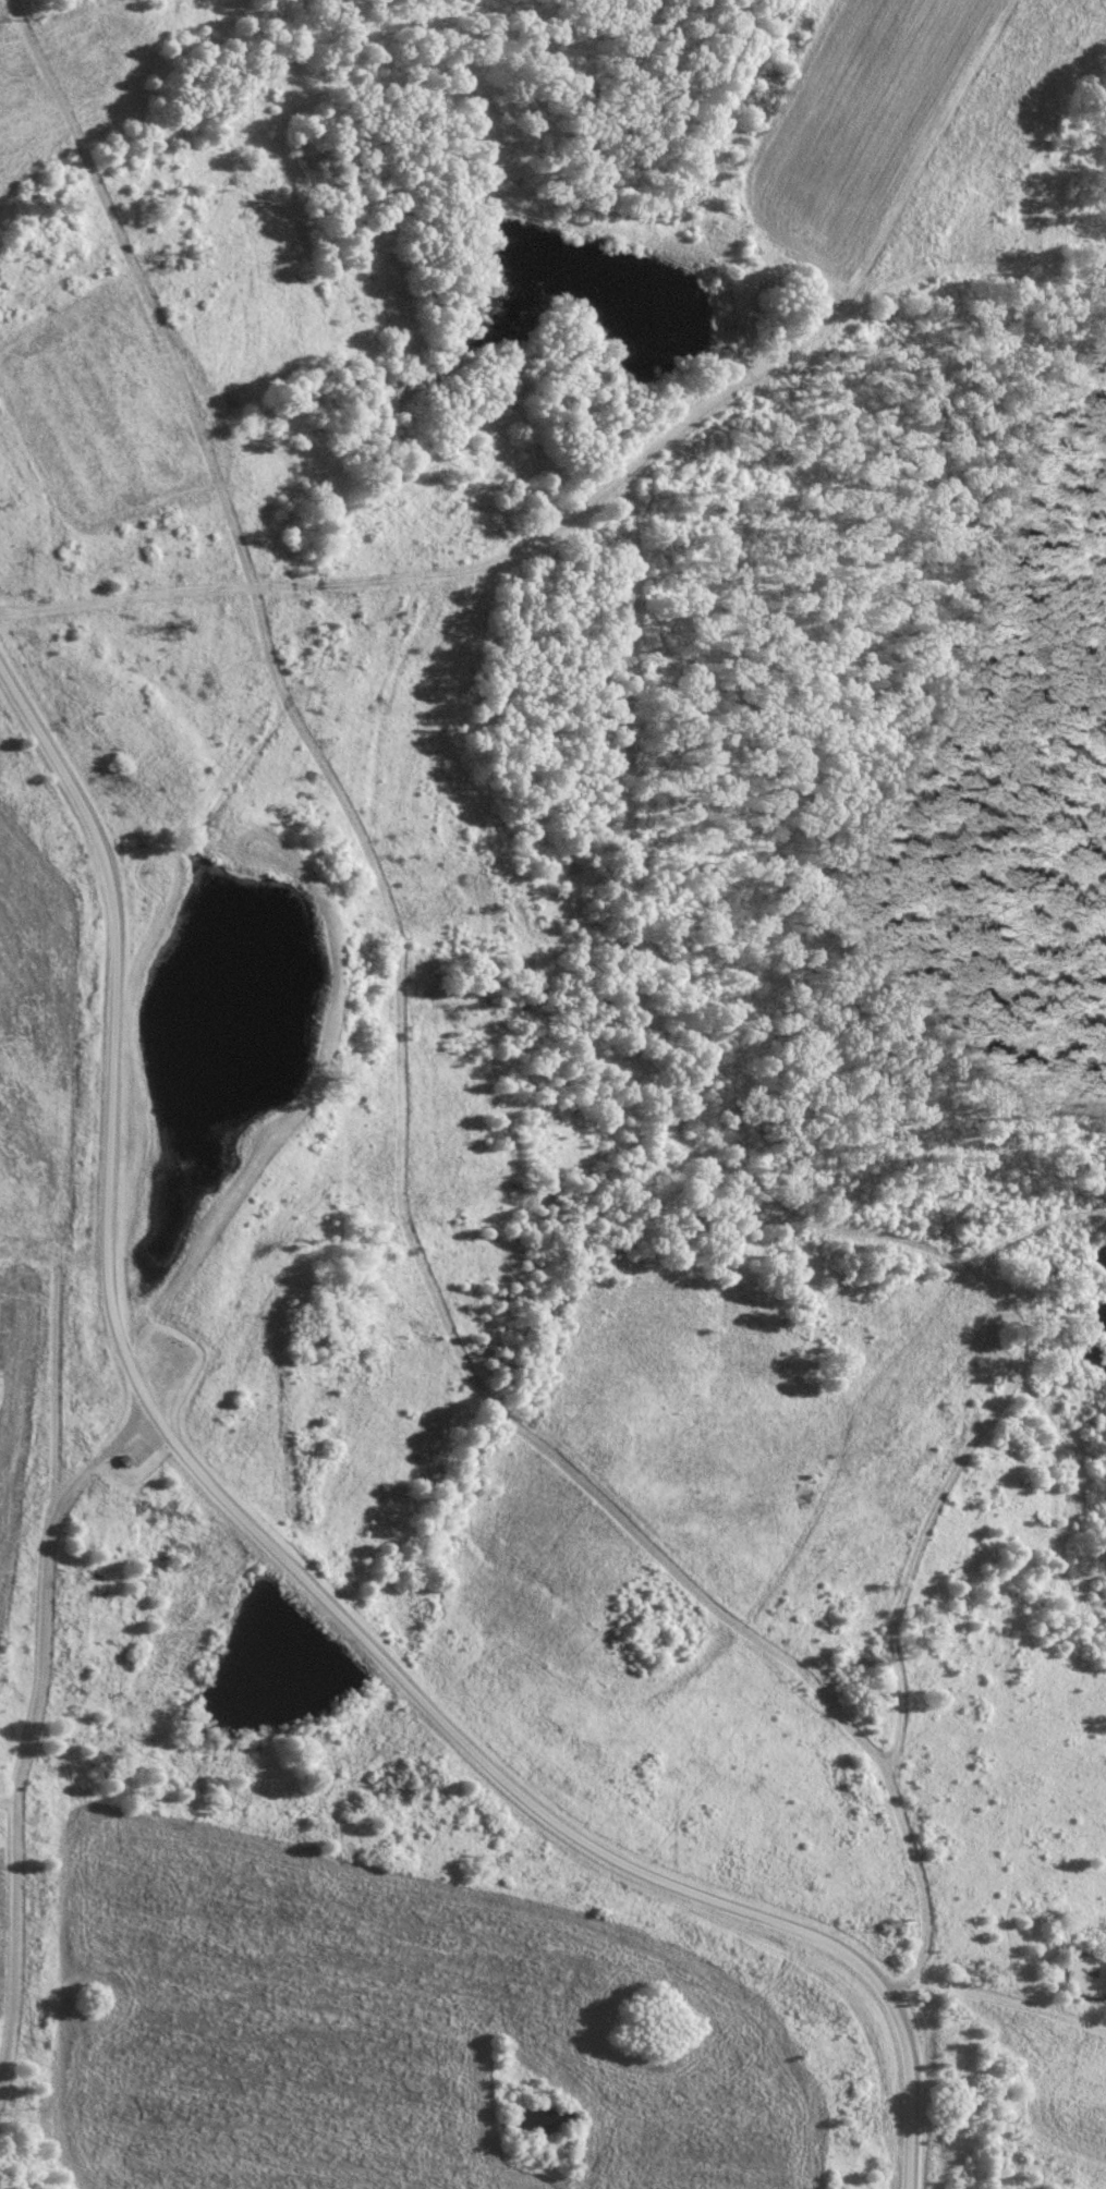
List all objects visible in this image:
road: (271, 1554)

